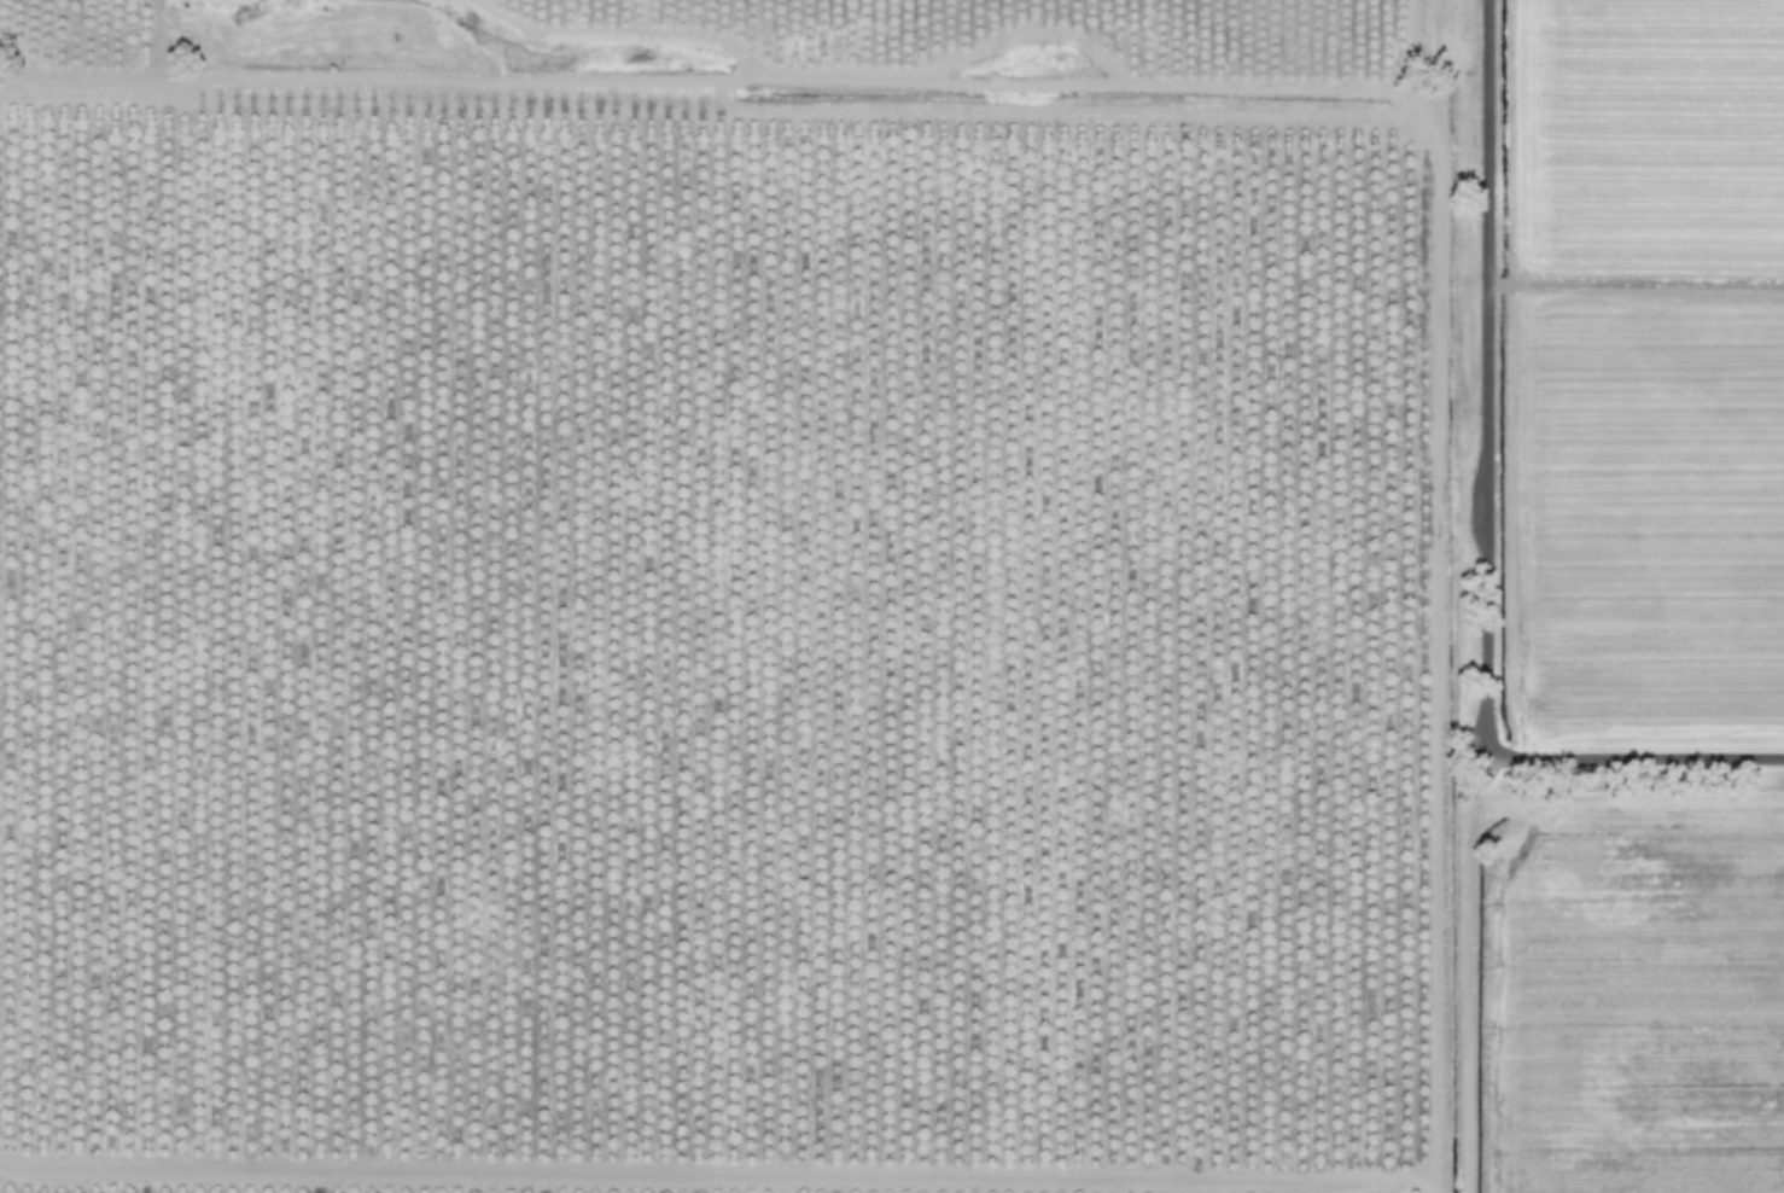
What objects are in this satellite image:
road: (1636, 286)
road: (1488, 373)
road: (1442, 648)
road: (1636, 760)

